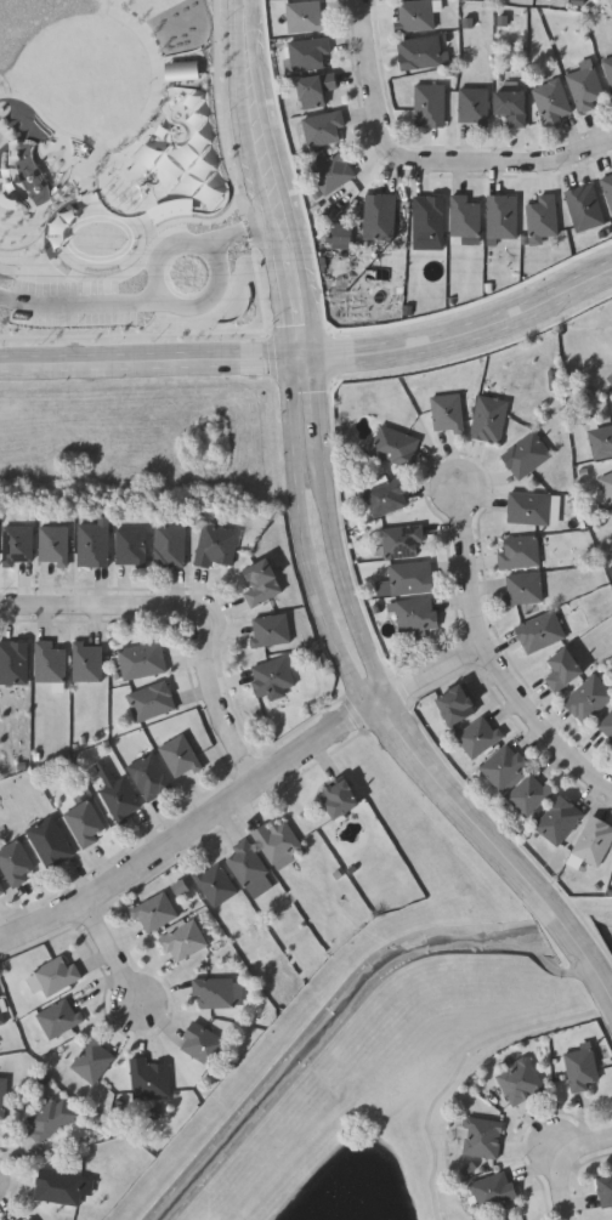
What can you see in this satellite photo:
building: (305, 16)
building: (413, 16)
road: (255, 25)
building: (420, 52)
building: (307, 53)
road: (370, 83)
building: (314, 89)
building: (584, 89)
building: (551, 102)
building: (429, 104)
building: (472, 106)
building: (511, 107)
building: (323, 129)
road: (509, 168)
building: (329, 170)
road: (261, 206)
road: (291, 208)
building: (583, 208)
building: (378, 216)
building: (426, 216)
building: (500, 216)
building: (463, 219)
building: (540, 219)
power tower: (348, 295)
road: (161, 302)
road: (313, 348)
road: (313, 367)
building: (444, 413)
building: (487, 419)
building: (600, 441)
building: (392, 446)
building: (525, 455)
building: (607, 490)
building: (384, 495)
building: (527, 507)
building: (399, 541)
road: (302, 543)
building: (16, 544)
building: (51, 544)
building: (90, 545)
building: (129, 545)
building: (166, 545)
building: (214, 546)
road: (335, 551)
building: (517, 552)
building: (404, 579)
building: (260, 583)
building: (521, 589)
road: (101, 609)
building: (414, 614)
building: (268, 630)
building: (538, 631)
road: (492, 659)
building: (140, 660)
building: (12, 662)
building: (47, 662)
building: (85, 662)
building: (562, 670)
road: (425, 674)
building: (271, 681)
building: (586, 698)
building: (148, 700)
road: (221, 703)
building: (457, 705)
road: (385, 716)
building: (477, 736)
building: (177, 755)
building: (503, 766)
building: (147, 776)
building: (528, 794)
building: (118, 799)
building: (339, 799)
building: (557, 821)
building: (83, 823)
road: (189, 834)
building: (593, 841)
building: (47, 842)
building: (277, 842)
road: (508, 861)
building: (15, 863)
building: (248, 869)
building: (214, 885)
building: (0, 890)
building: (153, 912)
building: (182, 940)
road: (114, 954)
building: (56, 974)
building: (214, 992)
building: (57, 1017)
building: (1, 1018)
building: (203, 1043)
building: (92, 1060)
building: (579, 1066)
building: (149, 1078)
building: (518, 1080)
building: (1, 1095)
building: (49, 1118)
building: (480, 1135)
road: (554, 1158)
building: (61, 1186)
building: (493, 1190)
building: (605, 1191)
building: (15, 1219)
building: (29, 1219)
building: (35, 1219)

